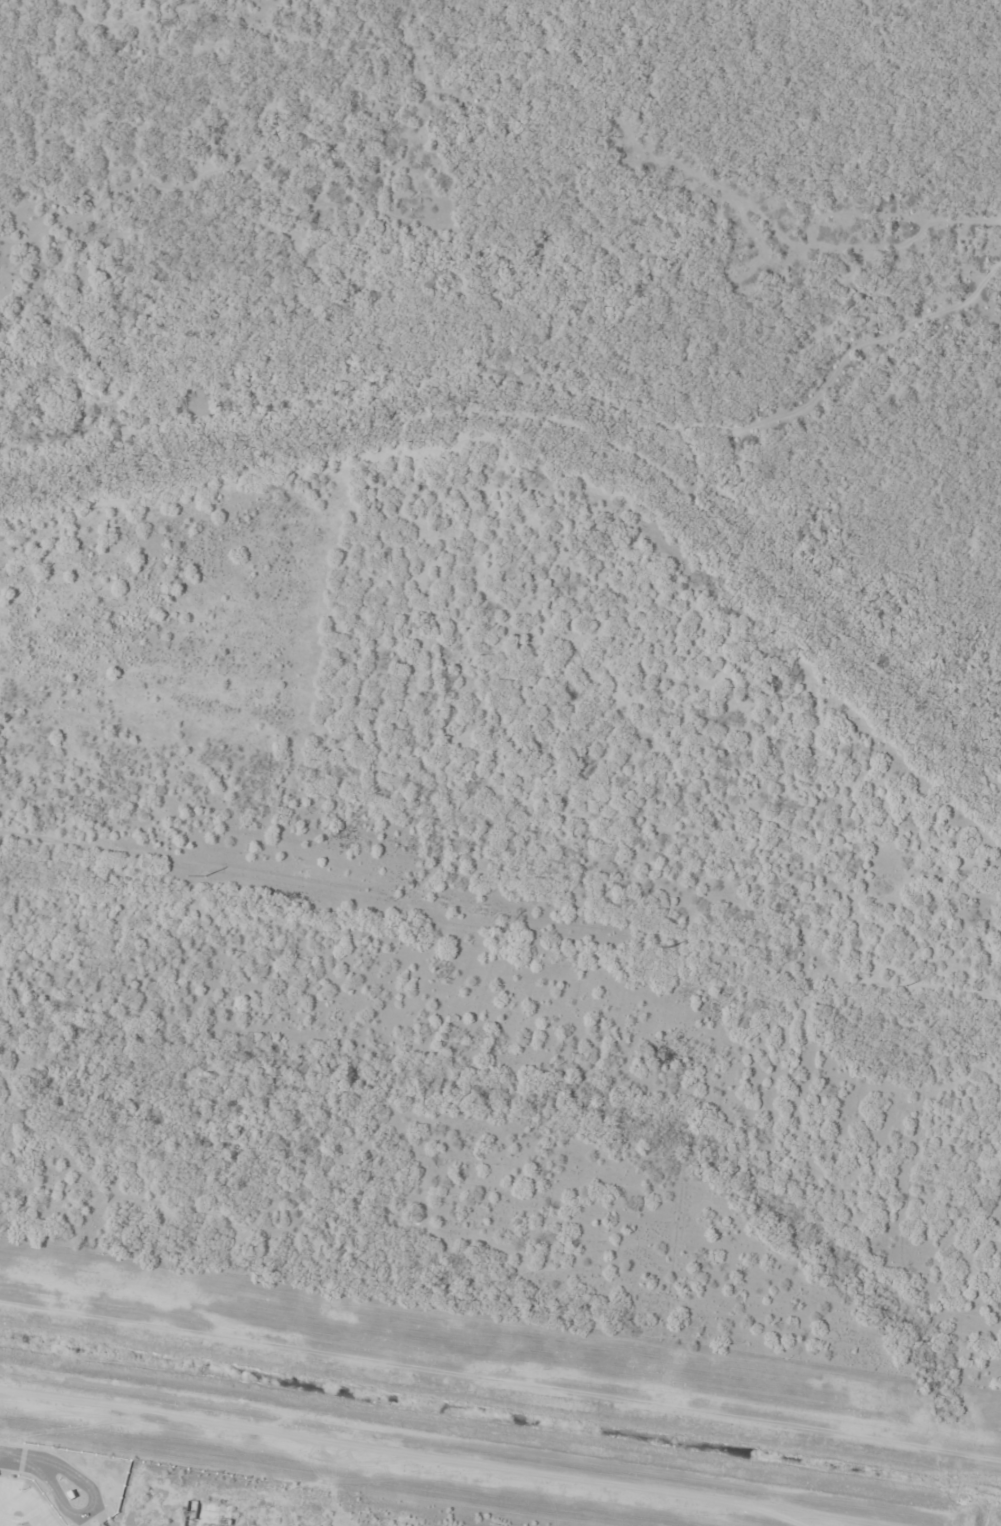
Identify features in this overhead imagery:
road: (56, 1478)

